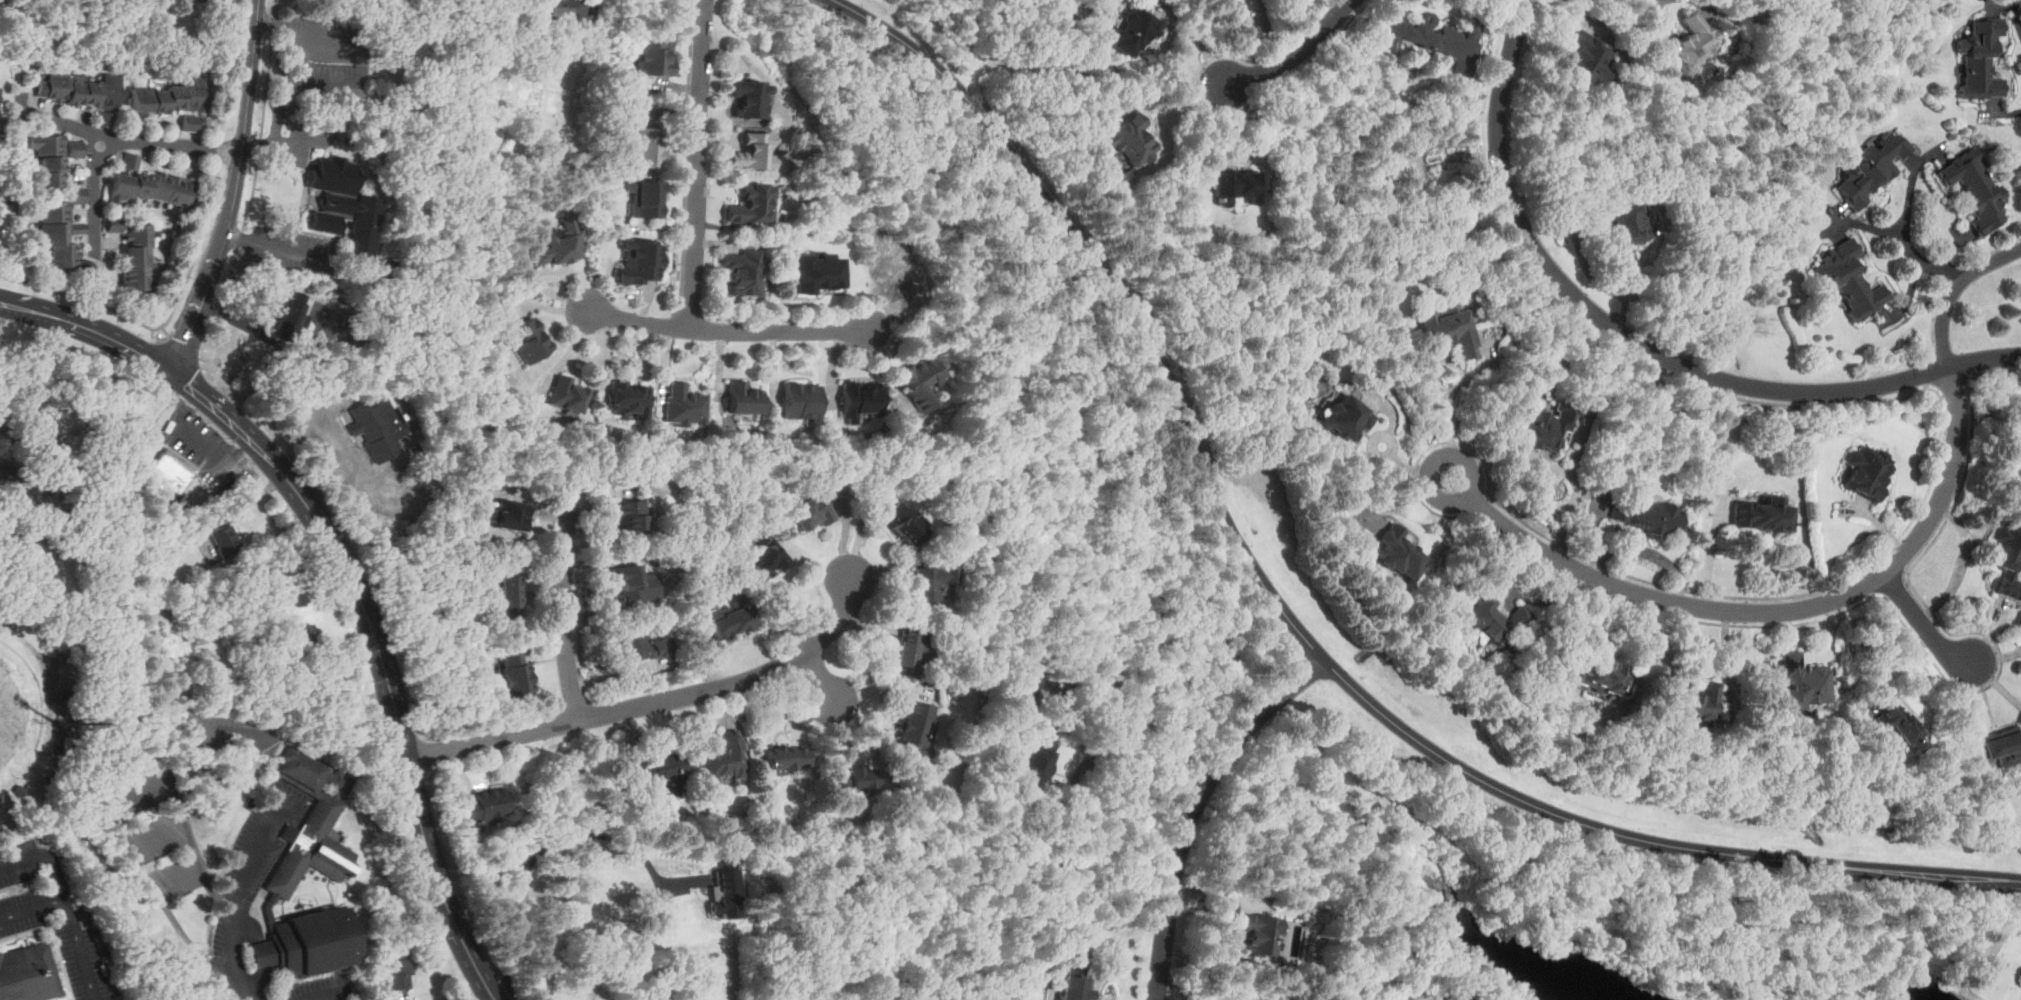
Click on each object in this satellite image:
building: (1, 0)
building: (209, 1)
road: (1998, 3)
road: (1705, 6)
building: (560, 8)
road: (2016, 16)
road: (1587, 20)
building: (1133, 29)
road: (1267, 32)
road: (1197, 40)
building: (1437, 40)
building: (1693, 43)
road: (1296, 51)
building: (653, 57)
building: (1589, 60)
building: (1978, 60)
road: (912, 64)
building: (83, 93)
road: (1171, 95)
building: (170, 96)
building: (748, 98)
road: (227, 101)
road: (1990, 103)
road: (1210, 109)
road: (2000, 110)
building: (189, 122)
road: (244, 126)
road: (1220, 134)
road: (129, 140)
road: (259, 140)
building: (1131, 140)
building: (644, 146)
building: (75, 148)
road: (1938, 149)
road: (219, 150)
building: (753, 151)
road: (688, 156)
building: (49, 158)
building: (130, 160)
road: (1911, 161)
road: (699, 163)
building: (1873, 164)
building: (1239, 184)
building: (148, 187)
road: (1787, 189)
building: (1972, 189)
road: (94, 194)
building: (646, 198)
building: (751, 204)
building: (345, 206)
road: (1840, 221)
building: (114, 223)
road: (1904, 223)
road: (1871, 226)
building: (1629, 227)
building: (63, 231)
building: (558, 244)
road: (276, 245)
road: (1953, 248)
road: (195, 252)
road: (1990, 253)
building: (137, 256)
building: (640, 260)
road: (1584, 264)
building: (742, 271)
building: (818, 272)
building: (1847, 279)
road: (1952, 279)
road: (1954, 290)
road: (1909, 295)
road: (98, 304)
building: (295, 307)
road: (1892, 308)
road: (198, 312)
road: (3, 317)
road: (682, 320)
road: (1935, 324)
road: (1587, 326)
building: (1447, 328)
road: (90, 329)
road: (727, 330)
building: (529, 339)
road: (270, 340)
road: (177, 343)
road: (1633, 344)
road: (1993, 371)
traffic signals: (174, 373)
road: (1926, 373)
building: (920, 381)
road: (1934, 390)
road: (1957, 390)
building: (568, 393)
building: (743, 397)
building: (627, 398)
building: (859, 399)
building: (801, 402)
road: (1448, 402)
building: (683, 405)
road: (1392, 407)
road: (219, 408)
building: (1344, 417)
building: (383, 425)
building: (1545, 426)
road: (86, 428)
road: (1402, 464)
building: (1, 468)
building: (1868, 470)
road: (1487, 471)
building: (172, 473)
road: (1959, 489)
road: (1444, 502)
building: (812, 511)
building: (508, 514)
building: (1761, 515)
building: (1650, 516)
building: (632, 518)
building: (904, 523)
road: (1593, 524)
building: (225, 538)
building: (1396, 552)
road: (1712, 553)
road: (1657, 555)
building: (767, 556)
building: (2006, 560)
road: (112, 563)
building: (275, 581)
building: (629, 581)
building: (932, 582)
road: (1894, 589)
building: (508, 591)
road: (1520, 596)
road: (563, 608)
road: (1780, 610)
building: (1495, 619)
building: (732, 620)
road: (1922, 622)
road: (1296, 628)
road: (1583, 629)
building: (300, 637)
building: (642, 646)
building: (908, 648)
road: (1728, 659)
road: (1892, 666)
building: (515, 673)
building: (1606, 675)
road: (819, 677)
road: (1994, 681)
building: (1804, 682)
building: (1026, 695)
building: (1693, 702)
road: (652, 703)
road: (1063, 707)
road: (396, 715)
building: (1901, 727)
building: (916, 729)
road: (205, 734)
building: (2002, 745)
road: (1130, 753)
building: (725, 758)
building: (785, 759)
building: (1034, 761)
building: (660, 767)
building: (853, 777)
building: (20, 790)
road: (120, 800)
road: (1192, 805)
building: (485, 806)
road: (1091, 835)
road: (254, 854)
road: (536, 854)
road: (47, 856)
building: (316, 862)
building: (729, 883)
road: (70, 916)
building: (1259, 933)
building: (644, 940)
road: (231, 964)
building: (400, 965)
park: (1993, 965)
building: (27, 973)
building: (1070, 984)
road: (326, 995)
building: (1422, 996)
building: (1454, 997)

